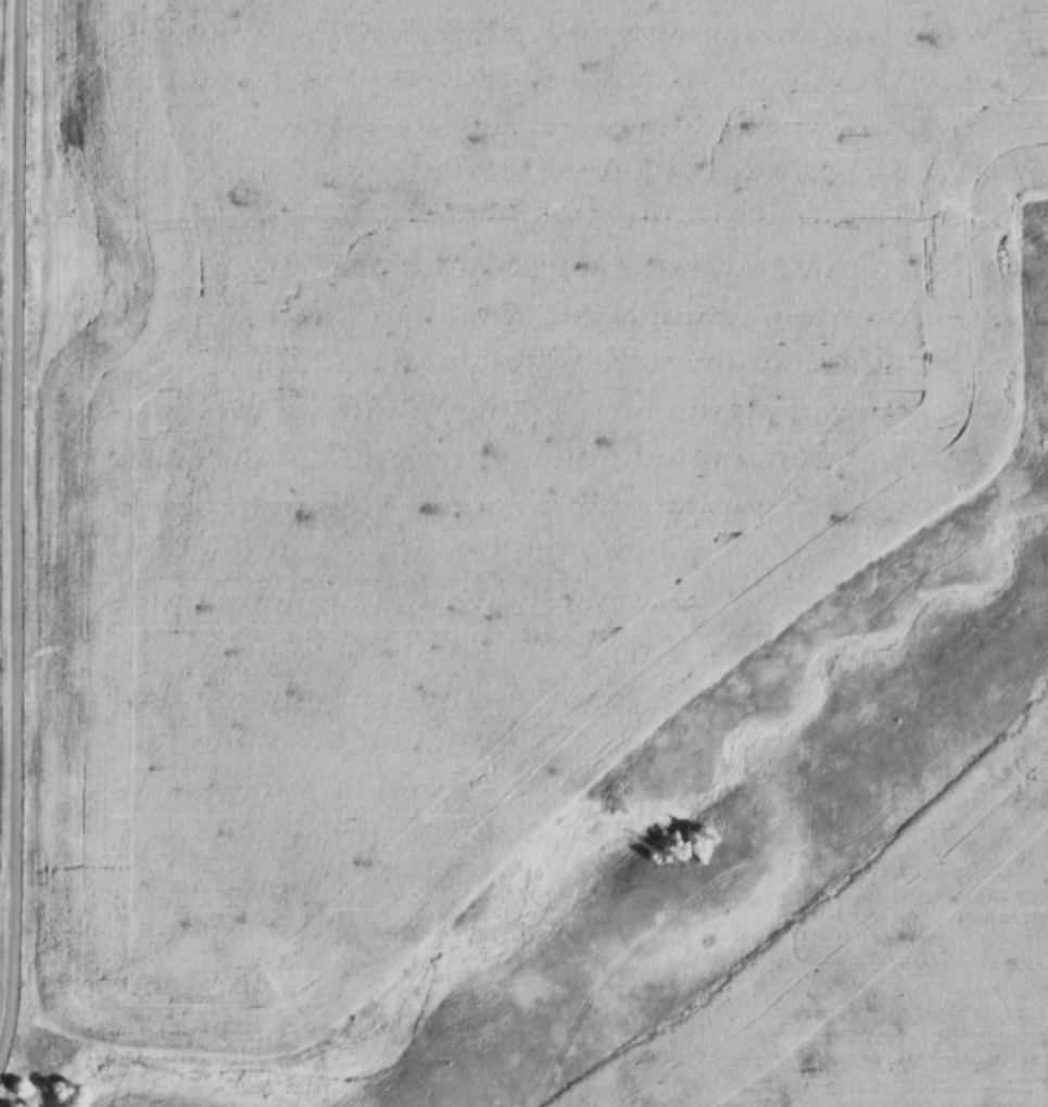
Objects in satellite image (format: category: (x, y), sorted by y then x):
road: (17, 536)

